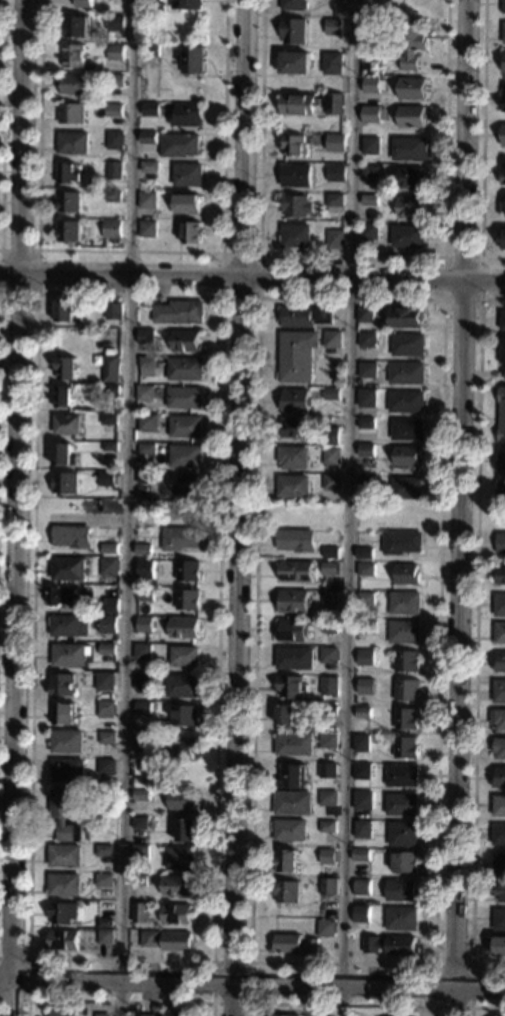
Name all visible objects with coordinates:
building: (152, 0)
building: (83, 4)
building: (187, 4)
building: (294, 5)
building: (504, 7)
building: (115, 23)
building: (385, 23)
building: (76, 26)
building: (334, 27)
building: (294, 31)
building: (504, 34)
building: (413, 43)
building: (115, 52)
building: (151, 53)
building: (73, 56)
building: (192, 60)
building: (295, 63)
building: (333, 64)
building: (504, 66)
building: (115, 80)
building: (76, 84)
building: (374, 85)
building: (413, 89)
building: (503, 100)
building: (299, 104)
building: (334, 104)
building: (114, 110)
building: (150, 110)
building: (71, 113)
building: (374, 114)
building: (187, 115)
building: (412, 117)
road: (2, 125)
building: (503, 135)
building: (148, 137)
road: (484, 139)
building: (115, 140)
building: (73, 143)
building: (335, 143)
building: (180, 145)
building: (371, 145)
building: (295, 146)
building: (410, 149)
building: (149, 167)
building: (114, 170)
building: (371, 171)
building: (336, 173)
building: (503, 173)
building: (68, 174)
building: (188, 175)
building: (296, 175)
building: (412, 177)
building: (114, 196)
building: (148, 200)
building: (370, 200)
building: (69, 202)
building: (335, 203)
building: (187, 204)
building: (297, 206)
building: (411, 207)
building: (503, 209)
building: (112, 229)
building: (148, 229)
building: (68, 231)
building: (370, 231)
building: (192, 233)
building: (296, 236)
building: (409, 236)
building: (335, 239)
building: (503, 239)
road: (132, 250)
road: (259, 254)
road: (354, 255)
road: (482, 257)
road: (252, 275)
road: (37, 292)
road: (221, 296)
road: (443, 299)
building: (69, 311)
building: (113, 311)
building: (179, 313)
building: (366, 315)
building: (305, 316)
building: (406, 316)
building: (503, 321)
building: (145, 337)
building: (333, 339)
building: (368, 339)
building: (186, 341)
building: (408, 344)
building: (502, 350)
building: (297, 356)
building: (147, 366)
building: (66, 368)
building: (110, 369)
building: (185, 369)
building: (368, 370)
building: (407, 373)
building: (111, 389)
building: (148, 393)
building: (332, 394)
building: (63, 396)
building: (184, 397)
building: (367, 397)
building: (296, 401)
building: (407, 402)
building: (502, 415)
building: (108, 418)
building: (148, 422)
building: (367, 423)
building: (67, 424)
building: (186, 427)
building: (295, 428)
building: (408, 429)
building: (332, 436)
building: (110, 446)
building: (147, 449)
building: (367, 450)
building: (64, 455)
building: (186, 456)
building: (332, 456)
building: (408, 456)
building: (293, 457)
building: (502, 462)
building: (107, 478)
building: (145, 478)
building: (367, 481)
building: (333, 482)
building: (65, 483)
building: (186, 485)
building: (293, 486)
building: (407, 488)
building: (502, 491)
road: (129, 507)
road: (237, 507)
road: (16, 508)
road: (350, 508)
road: (464, 508)
building: (72, 536)
building: (181, 538)
building: (296, 540)
building: (402, 542)
building: (501, 543)
building: (109, 549)
building: (143, 550)
building: (331, 552)
building: (365, 554)
building: (110, 567)
building: (330, 568)
building: (68, 569)
building: (145, 569)
building: (367, 570)
building: (188, 571)
building: (295, 571)
building: (408, 574)
building: (501, 575)
building: (145, 595)
building: (62, 596)
building: (366, 599)
building: (187, 600)
building: (330, 600)
building: (293, 602)
building: (405, 603)
building: (110, 605)
building: (500, 605)
building: (108, 621)
building: (144, 624)
building: (68, 627)
building: (330, 627)
building: (368, 627)
building: (184, 628)
building: (293, 630)
building: (404, 632)
building: (500, 633)
road: (476, 638)
building: (106, 649)
building: (142, 652)
building: (68, 655)
building: (329, 655)
building: (184, 656)
building: (366, 657)
building: (295, 659)
building: (407, 661)
building: (500, 662)
building: (108, 668)
building: (104, 681)
building: (143, 681)
building: (330, 682)
building: (62, 685)
building: (182, 686)
building: (291, 687)
building: (366, 687)
building: (407, 690)
building: (499, 691)
building: (143, 708)
building: (106, 709)
building: (330, 710)
building: (363, 712)
building: (62, 713)
building: (184, 715)
building: (285, 715)
building: (407, 719)
building: (500, 719)
building: (107, 737)
building: (143, 740)
building: (328, 741)
building: (67, 742)
building: (361, 743)
building: (293, 745)
building: (182, 748)
building: (406, 748)
building: (500, 748)
building: (106, 767)
building: (67, 770)
building: (327, 771)
building: (362, 771)
building: (402, 776)
building: (291, 777)
building: (499, 778)
building: (141, 795)
building: (328, 798)
building: (182, 800)
building: (363, 800)
building: (292, 803)
building: (402, 804)
building: (499, 806)
building: (65, 814)
building: (140, 823)
building: (328, 827)
building: (363, 829)
building: (290, 830)
building: (186, 831)
building: (403, 834)
building: (499, 834)
building: (104, 850)
building: (140, 853)
building: (361, 855)
building: (65, 856)
building: (327, 856)
building: (179, 858)
building: (285, 861)
building: (405, 862)
building: (500, 863)
building: (104, 880)
building: (139, 880)
building: (64, 885)
building: (177, 886)
building: (328, 886)
building: (362, 887)
building: (401, 891)
building: (500, 891)
building: (286, 892)
building: (361, 911)
building: (62, 912)
building: (143, 912)
building: (176, 914)
building: (401, 918)
building: (499, 920)
building: (104, 923)
building: (326, 928)
building: (100, 937)
building: (62, 940)
building: (167, 941)
building: (293, 944)
building: (390, 945)
building: (500, 946)
road: (250, 963)
road: (28, 980)
road: (252, 983)
road: (119, 1001)
road: (342, 1004)
road: (435, 1005)
road: (484, 1007)
building: (63, 1013)
building: (101, 1014)
building: (170, 1014)
building: (282, 1015)
building: (398, 1015)

